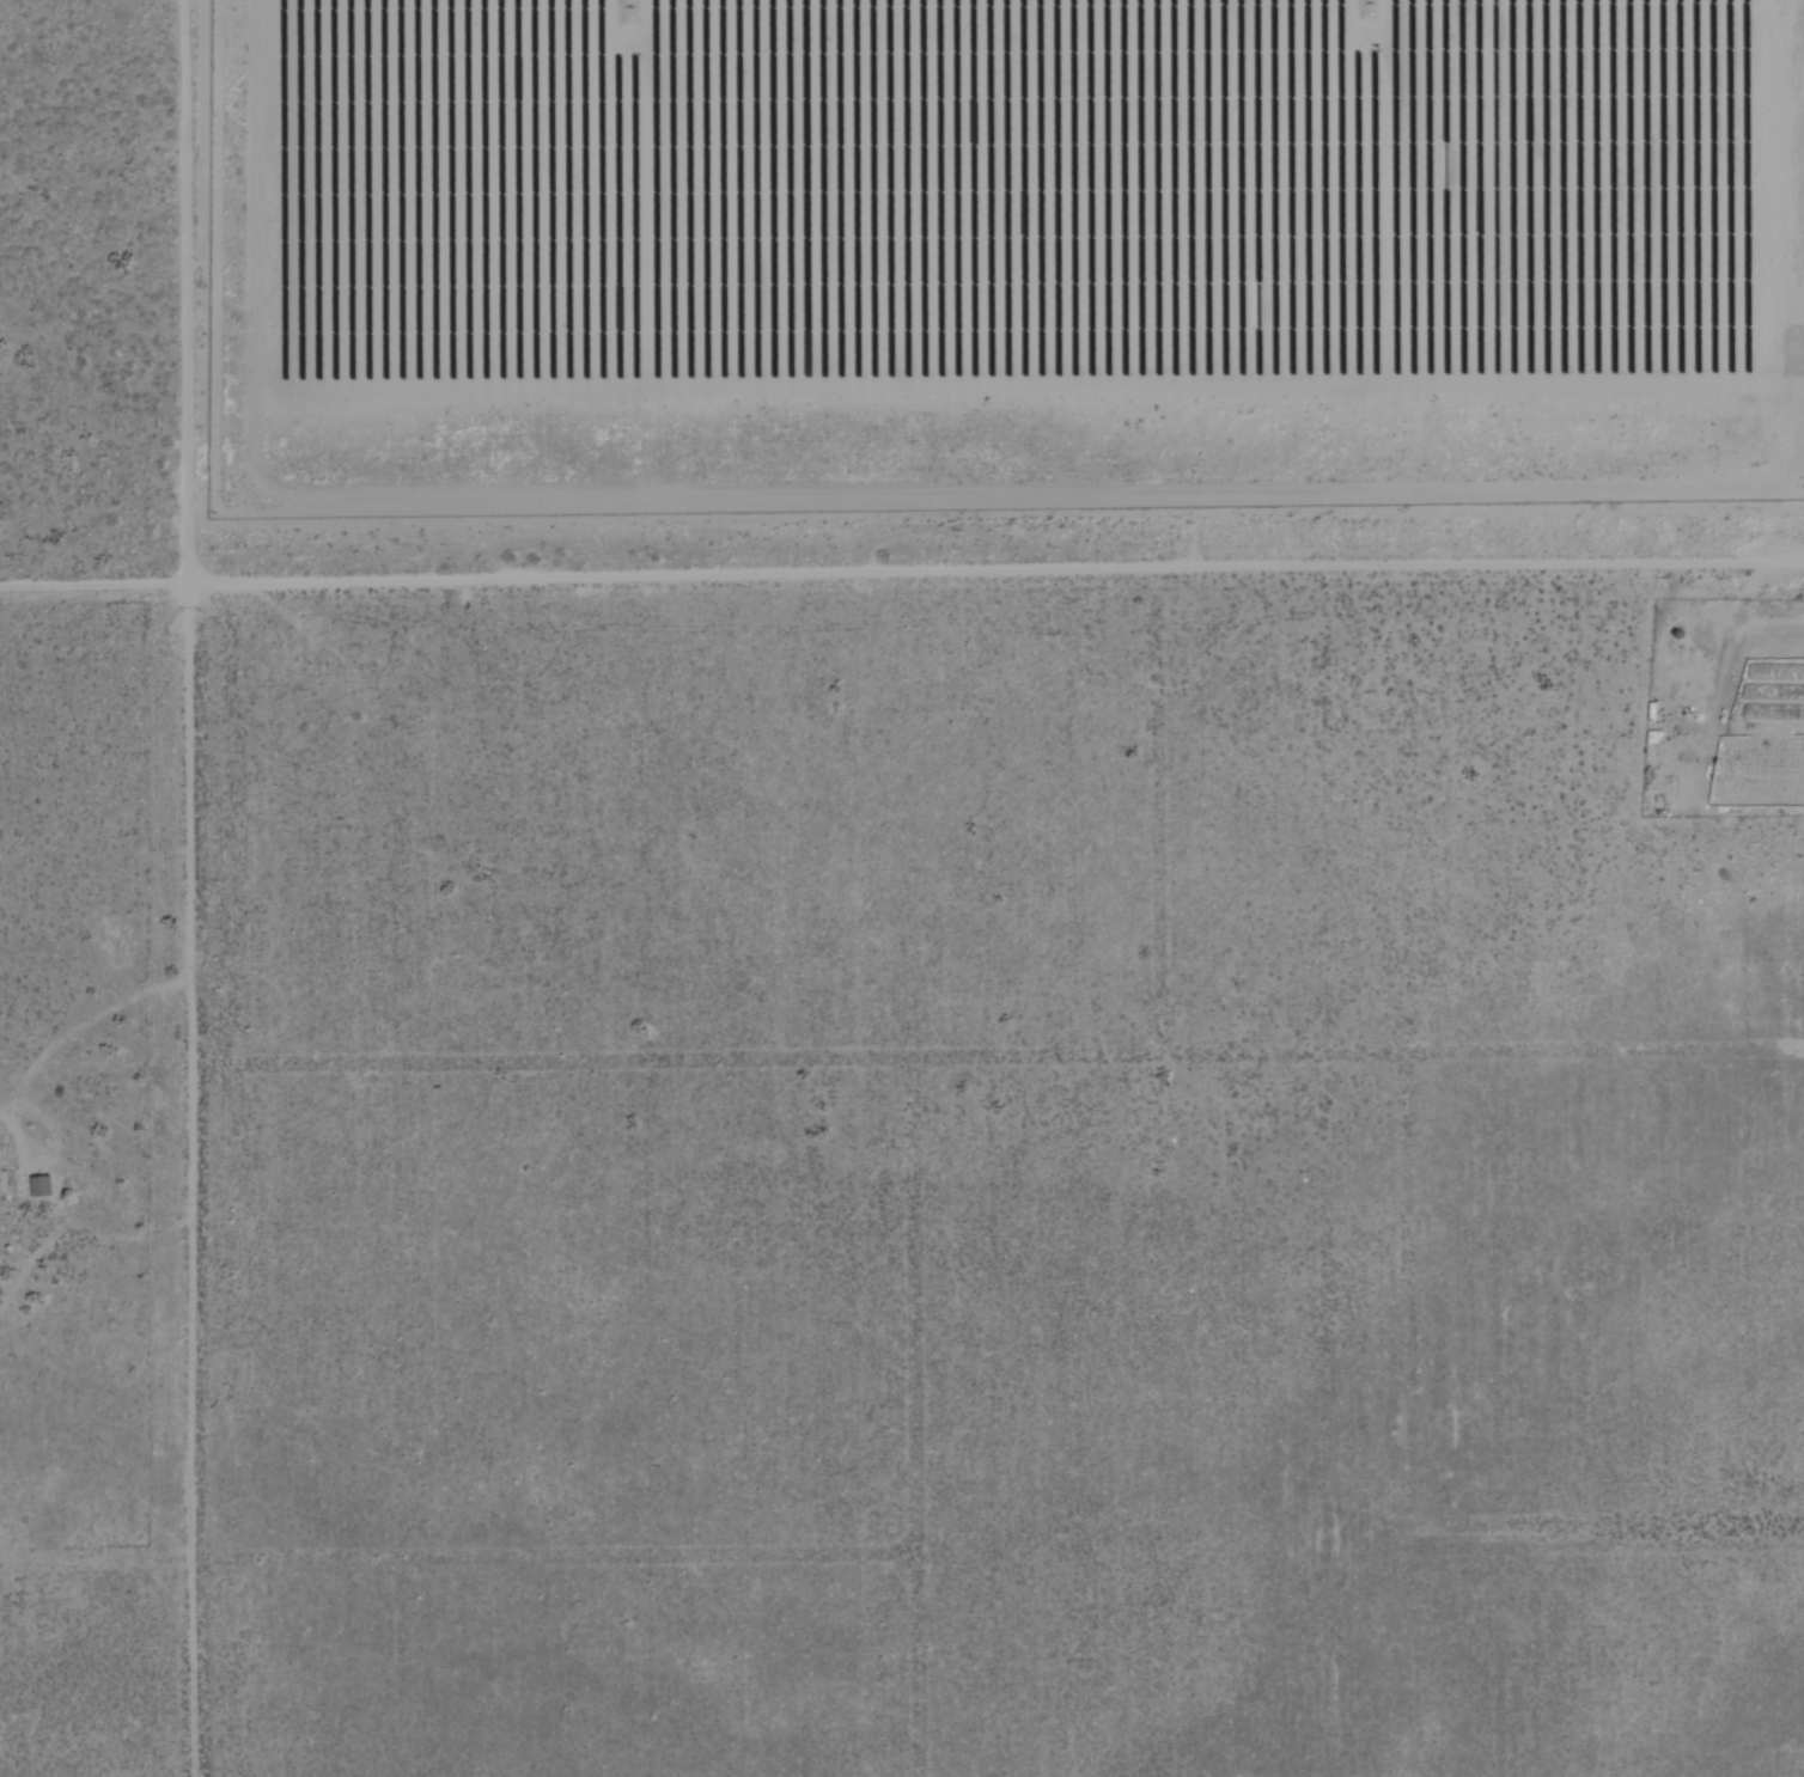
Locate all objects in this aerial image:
solar farm: (1018, 250)
road: (183, 298)
road: (1570, 572)
road: (761, 581)
road: (93, 596)
building: (4, 1183)
road: (190, 1186)

